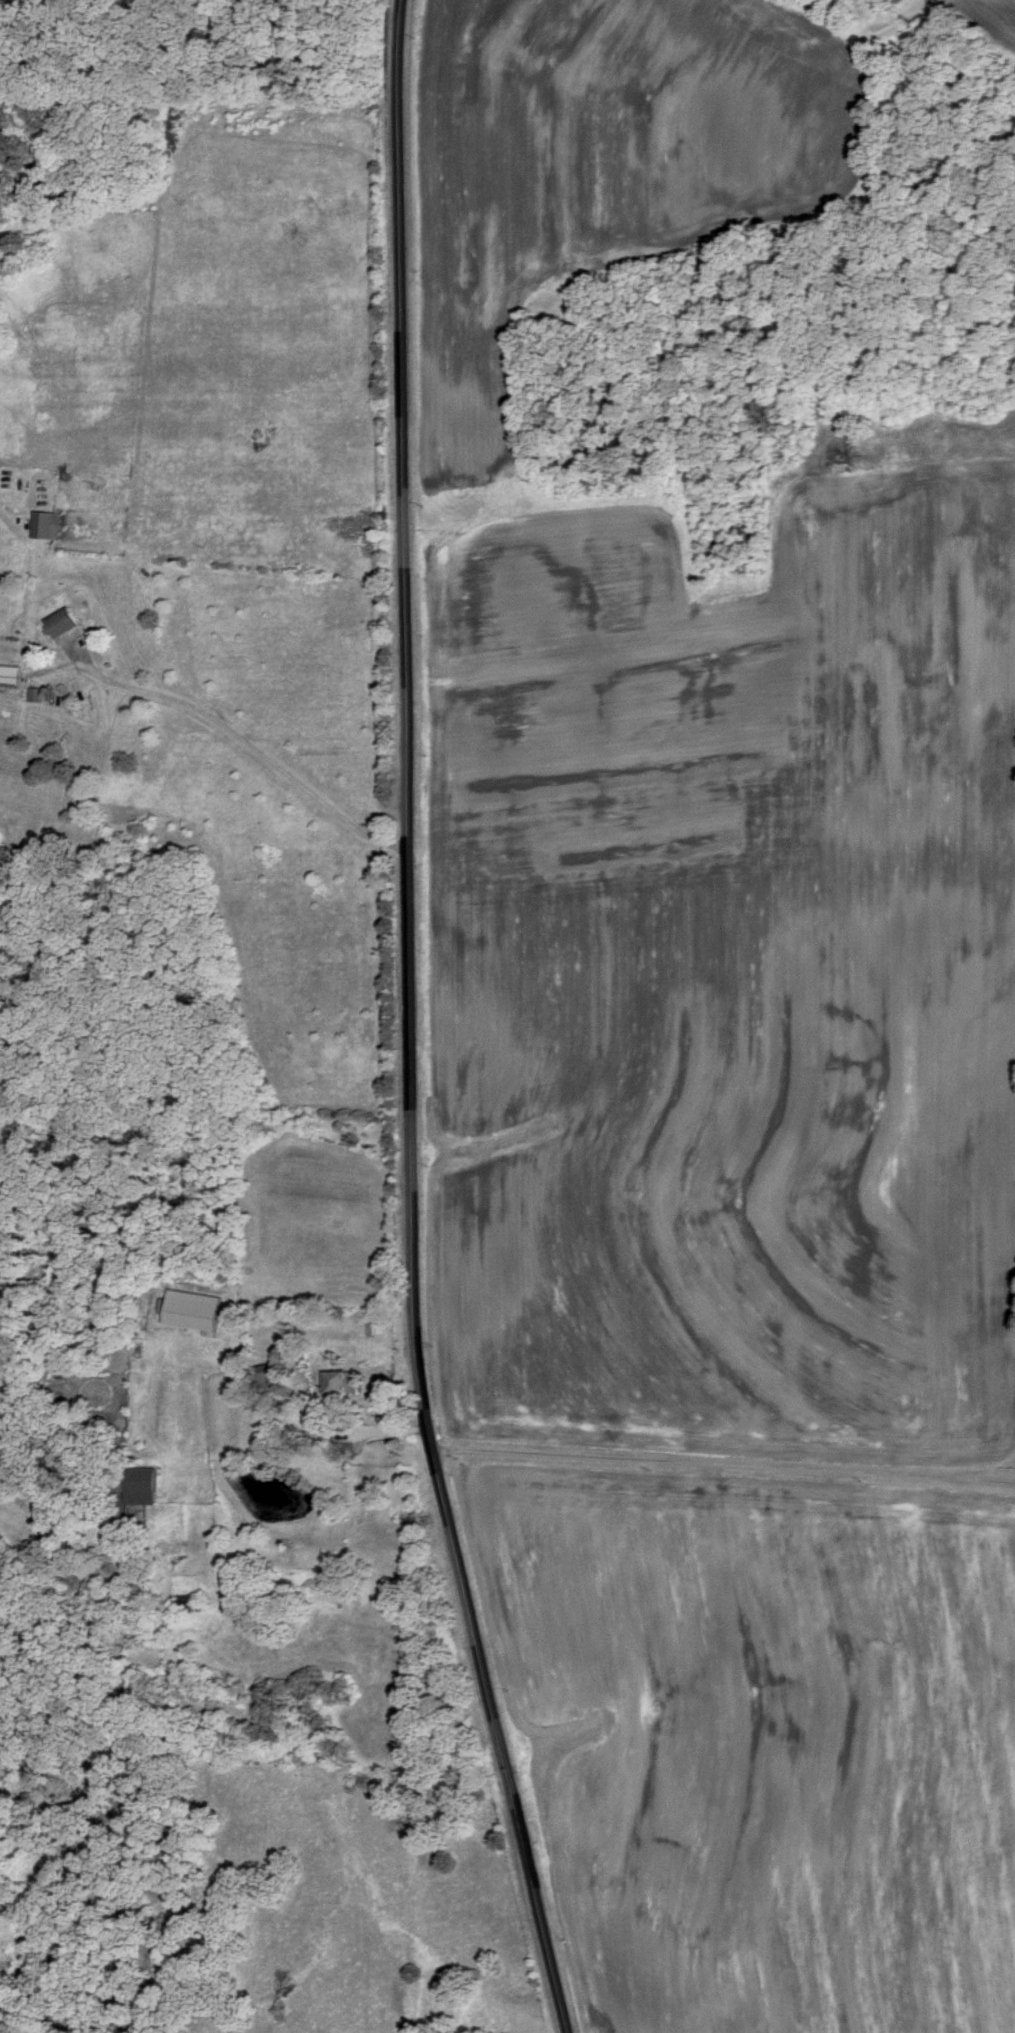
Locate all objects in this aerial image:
building: (65, 624)
building: (11, 677)
road: (231, 731)
road: (412, 1025)
building: (262, 1380)
building: (343, 1385)
road: (726, 1467)
building: (144, 1488)
building: (188, 1605)

